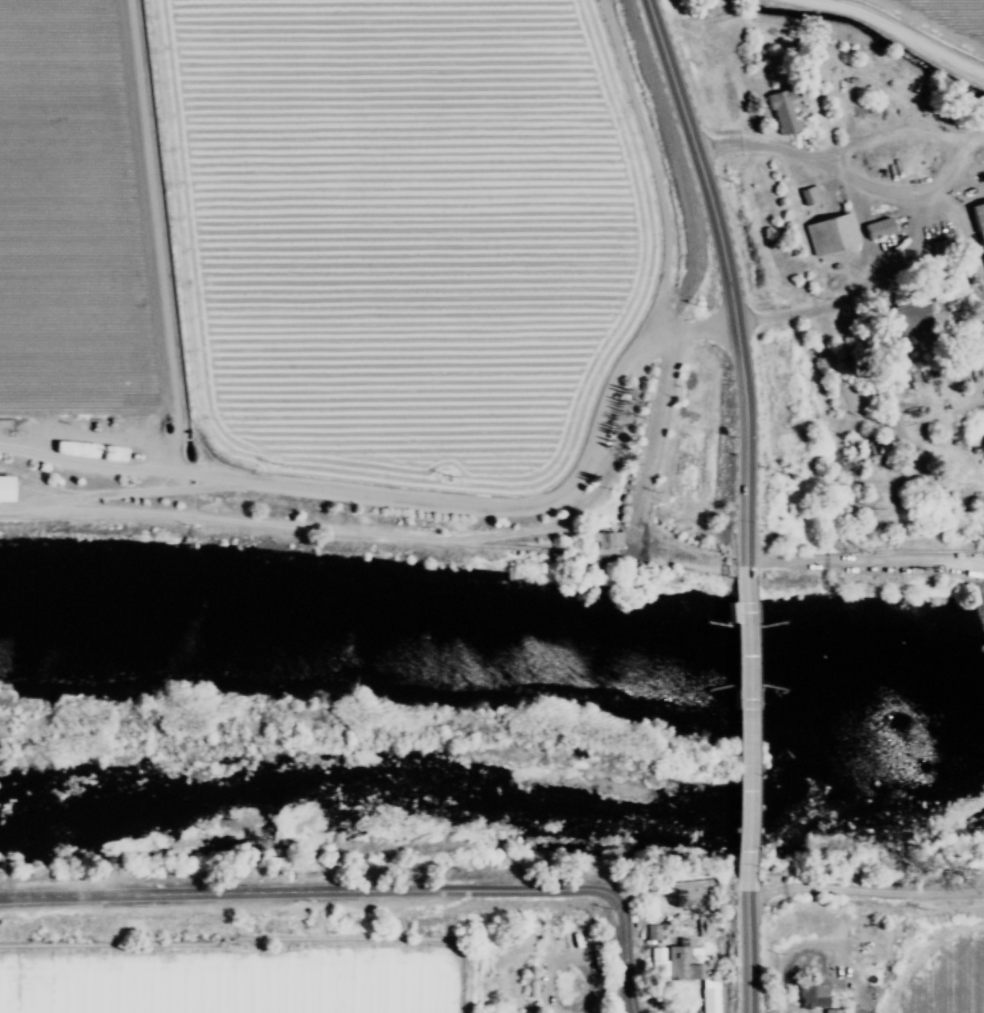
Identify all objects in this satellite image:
road: (899, 34)
building: (782, 111)
road: (849, 176)
building: (808, 197)
building: (979, 221)
building: (830, 235)
road: (725, 283)
road: (810, 308)
building: (983, 428)
building: (117, 430)
road: (649, 438)
building: (3, 491)
road: (372, 498)
road: (424, 538)
building: (603, 544)
road: (864, 566)
river: (466, 645)
river: (955, 712)
road: (743, 728)
river: (485, 812)
road: (863, 890)
road: (367, 892)
building: (703, 927)
road: (744, 947)
road: (919, 951)
road: (550, 955)
building: (597, 955)
crop: (255, 956)
road: (782, 961)
building: (683, 963)
crop: (972, 985)
building: (809, 996)
building: (709, 1000)
building: (831, 1011)

